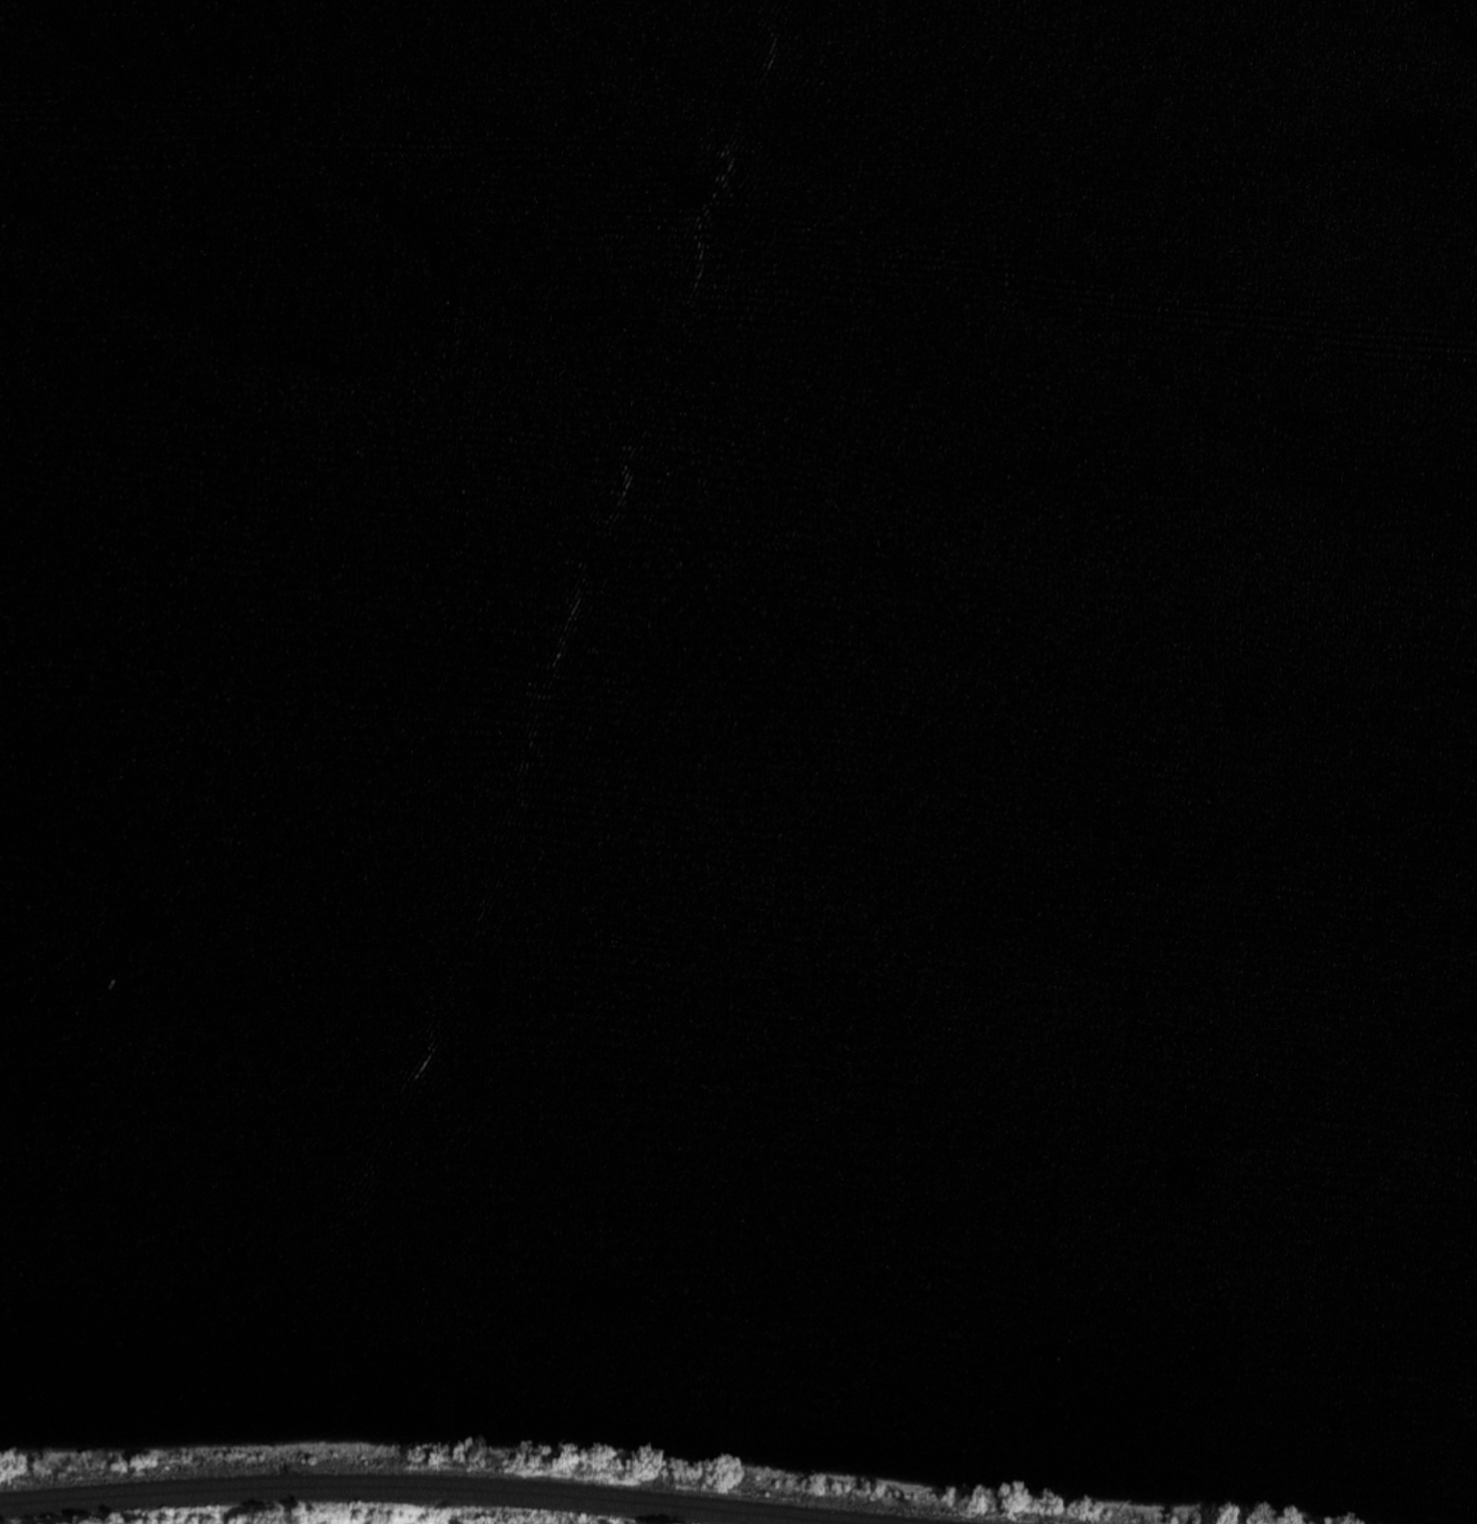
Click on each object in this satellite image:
railway: (447, 1485)
railway: (397, 1492)

